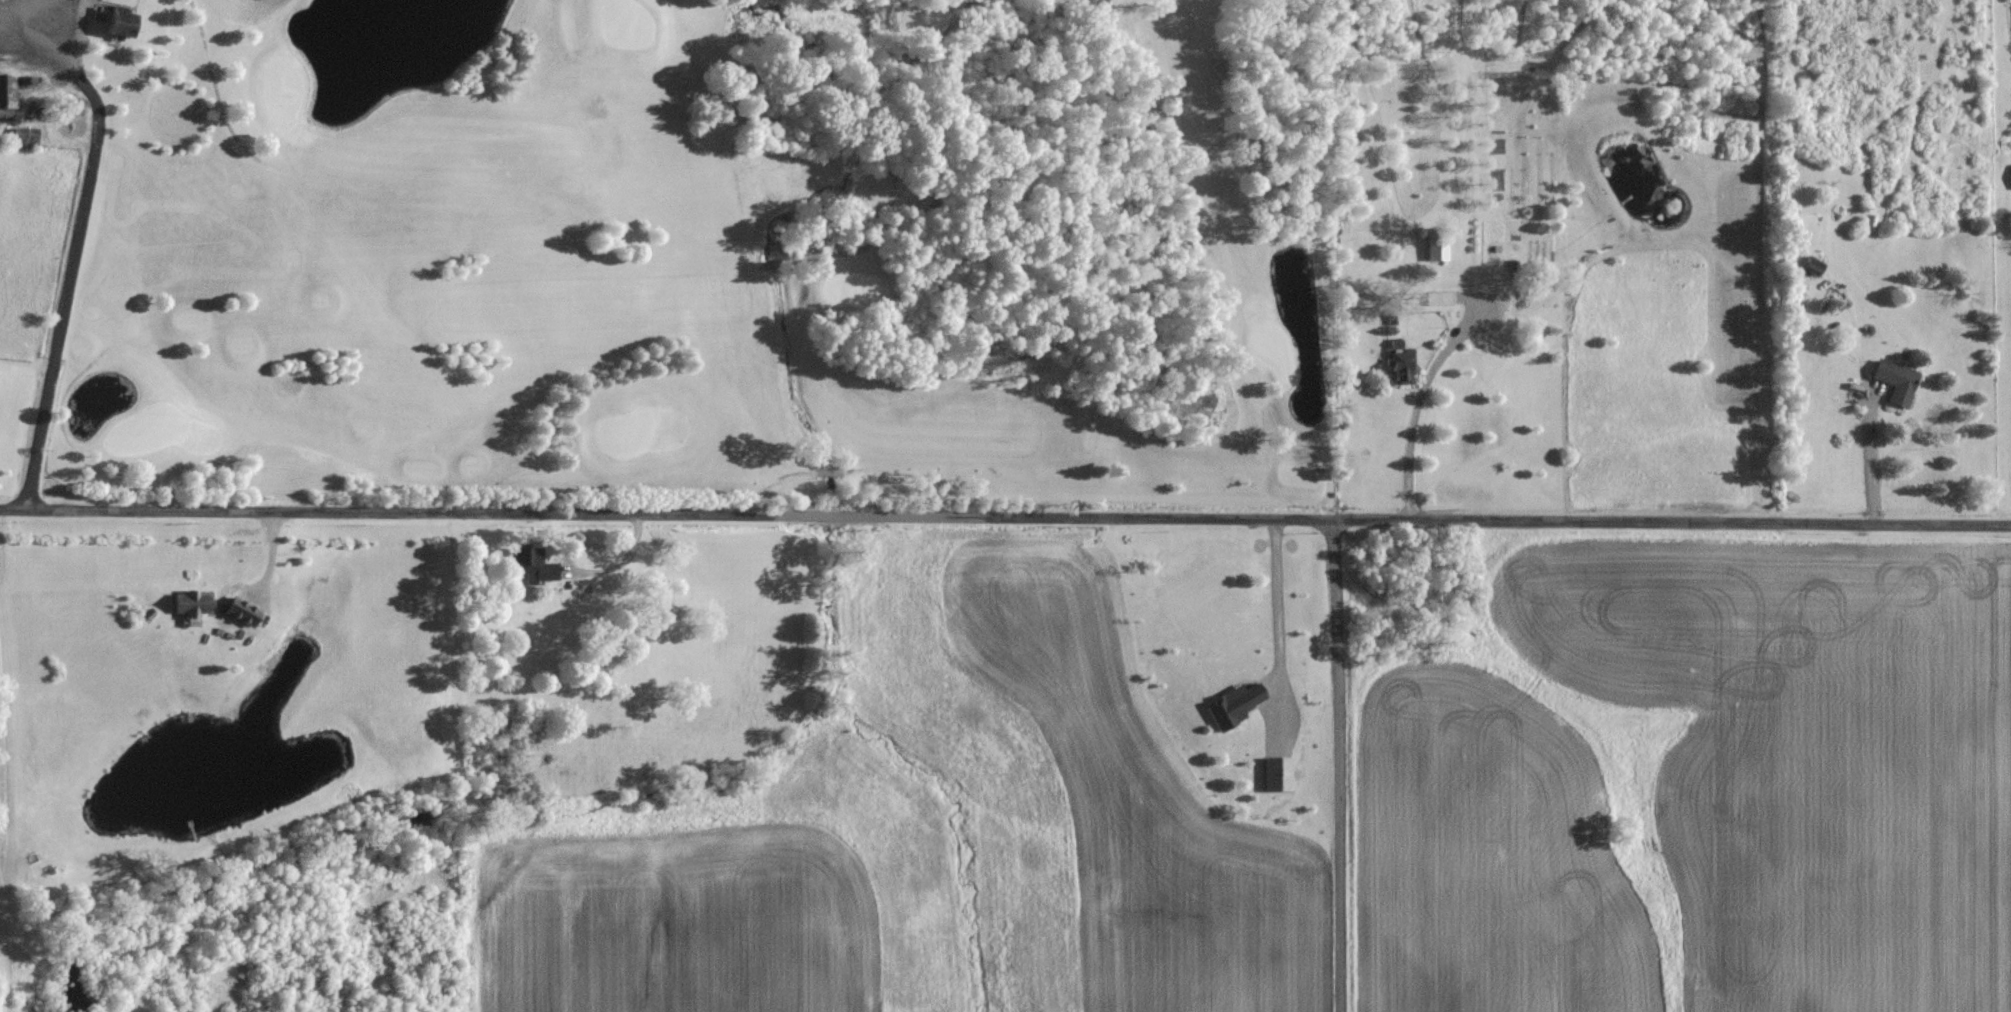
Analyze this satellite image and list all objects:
building: (123, 21)
building: (7, 96)
building: (26, 136)
building: (1437, 246)
road: (74, 250)
building: (1403, 366)
building: (1898, 380)
road: (1412, 418)
road: (1879, 455)
road: (1005, 513)
building: (194, 602)
road: (1275, 604)
building: (246, 617)
building: (1236, 704)
road: (1338, 762)

